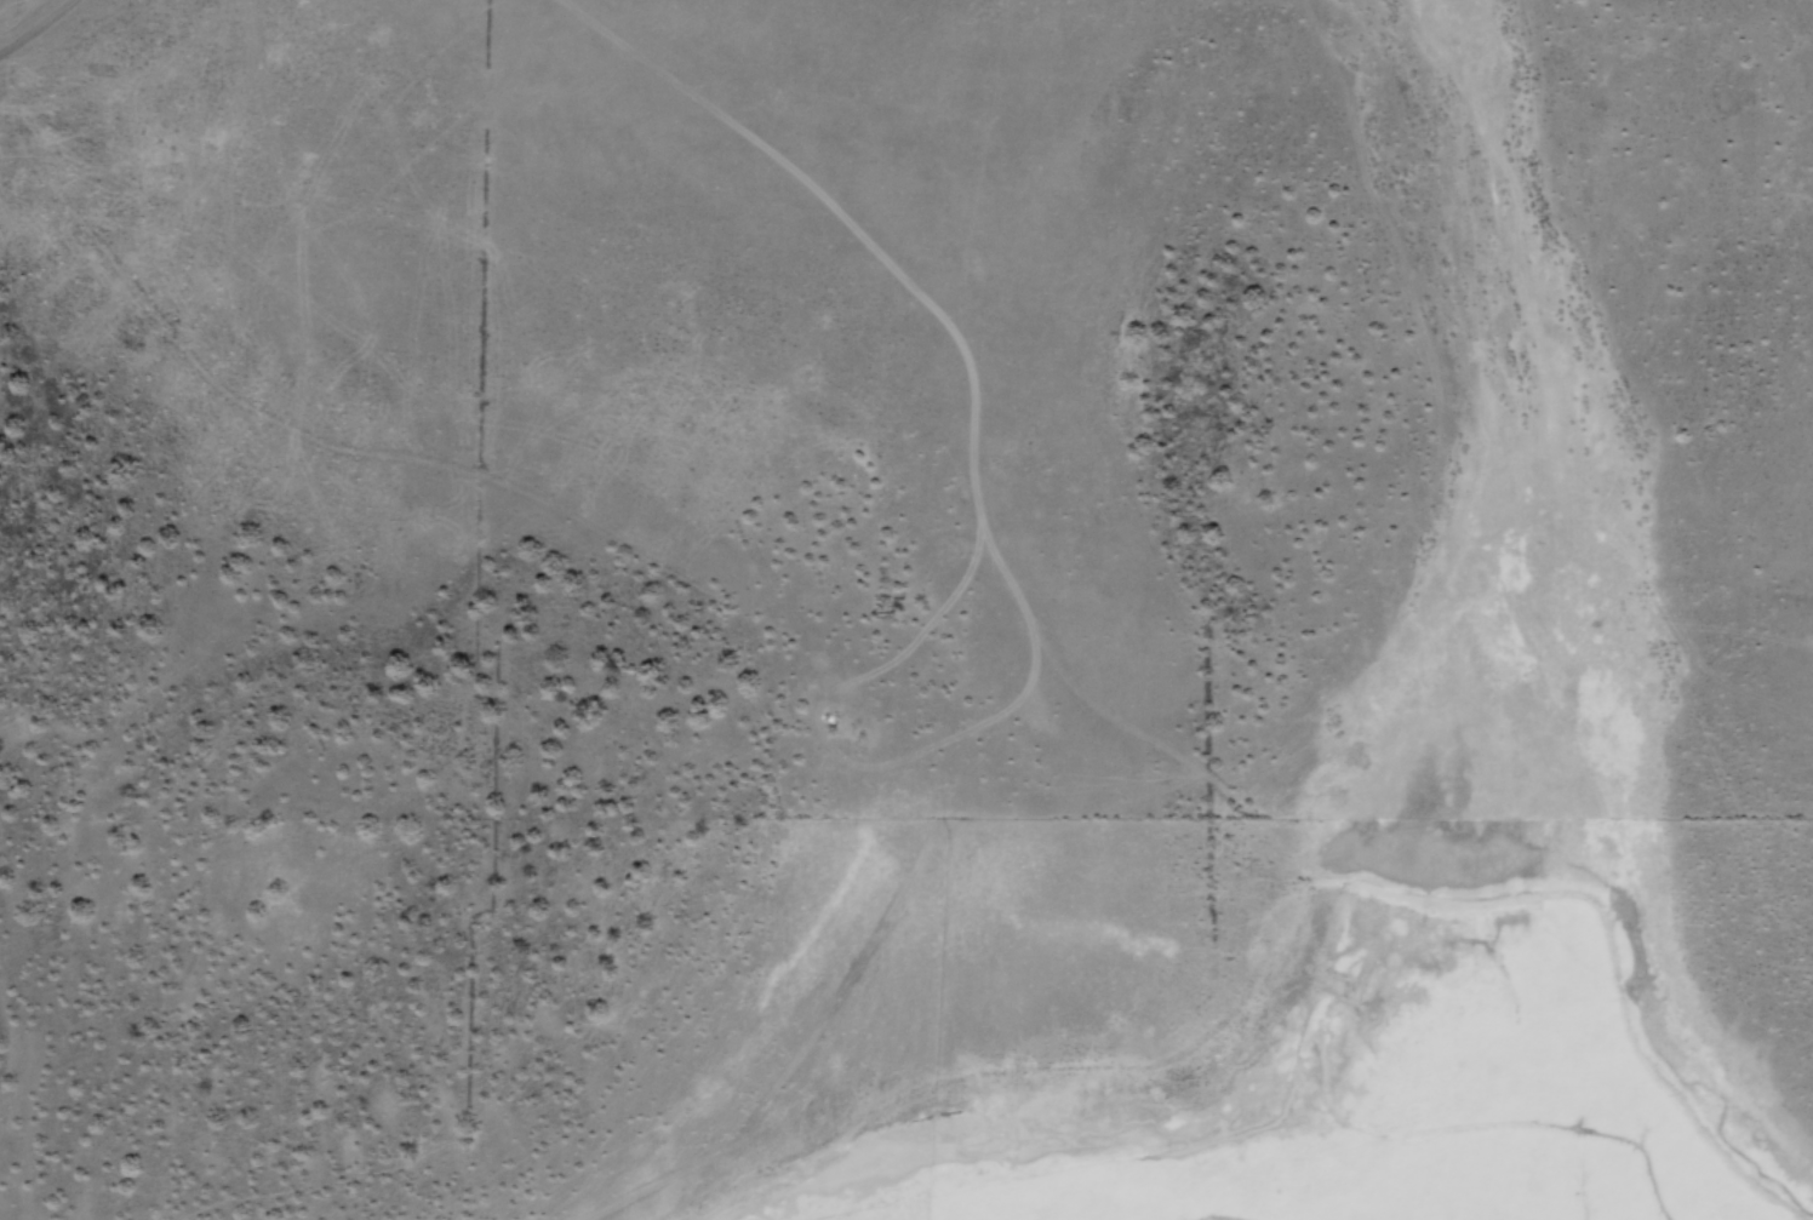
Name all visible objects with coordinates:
road: (29, 22)

